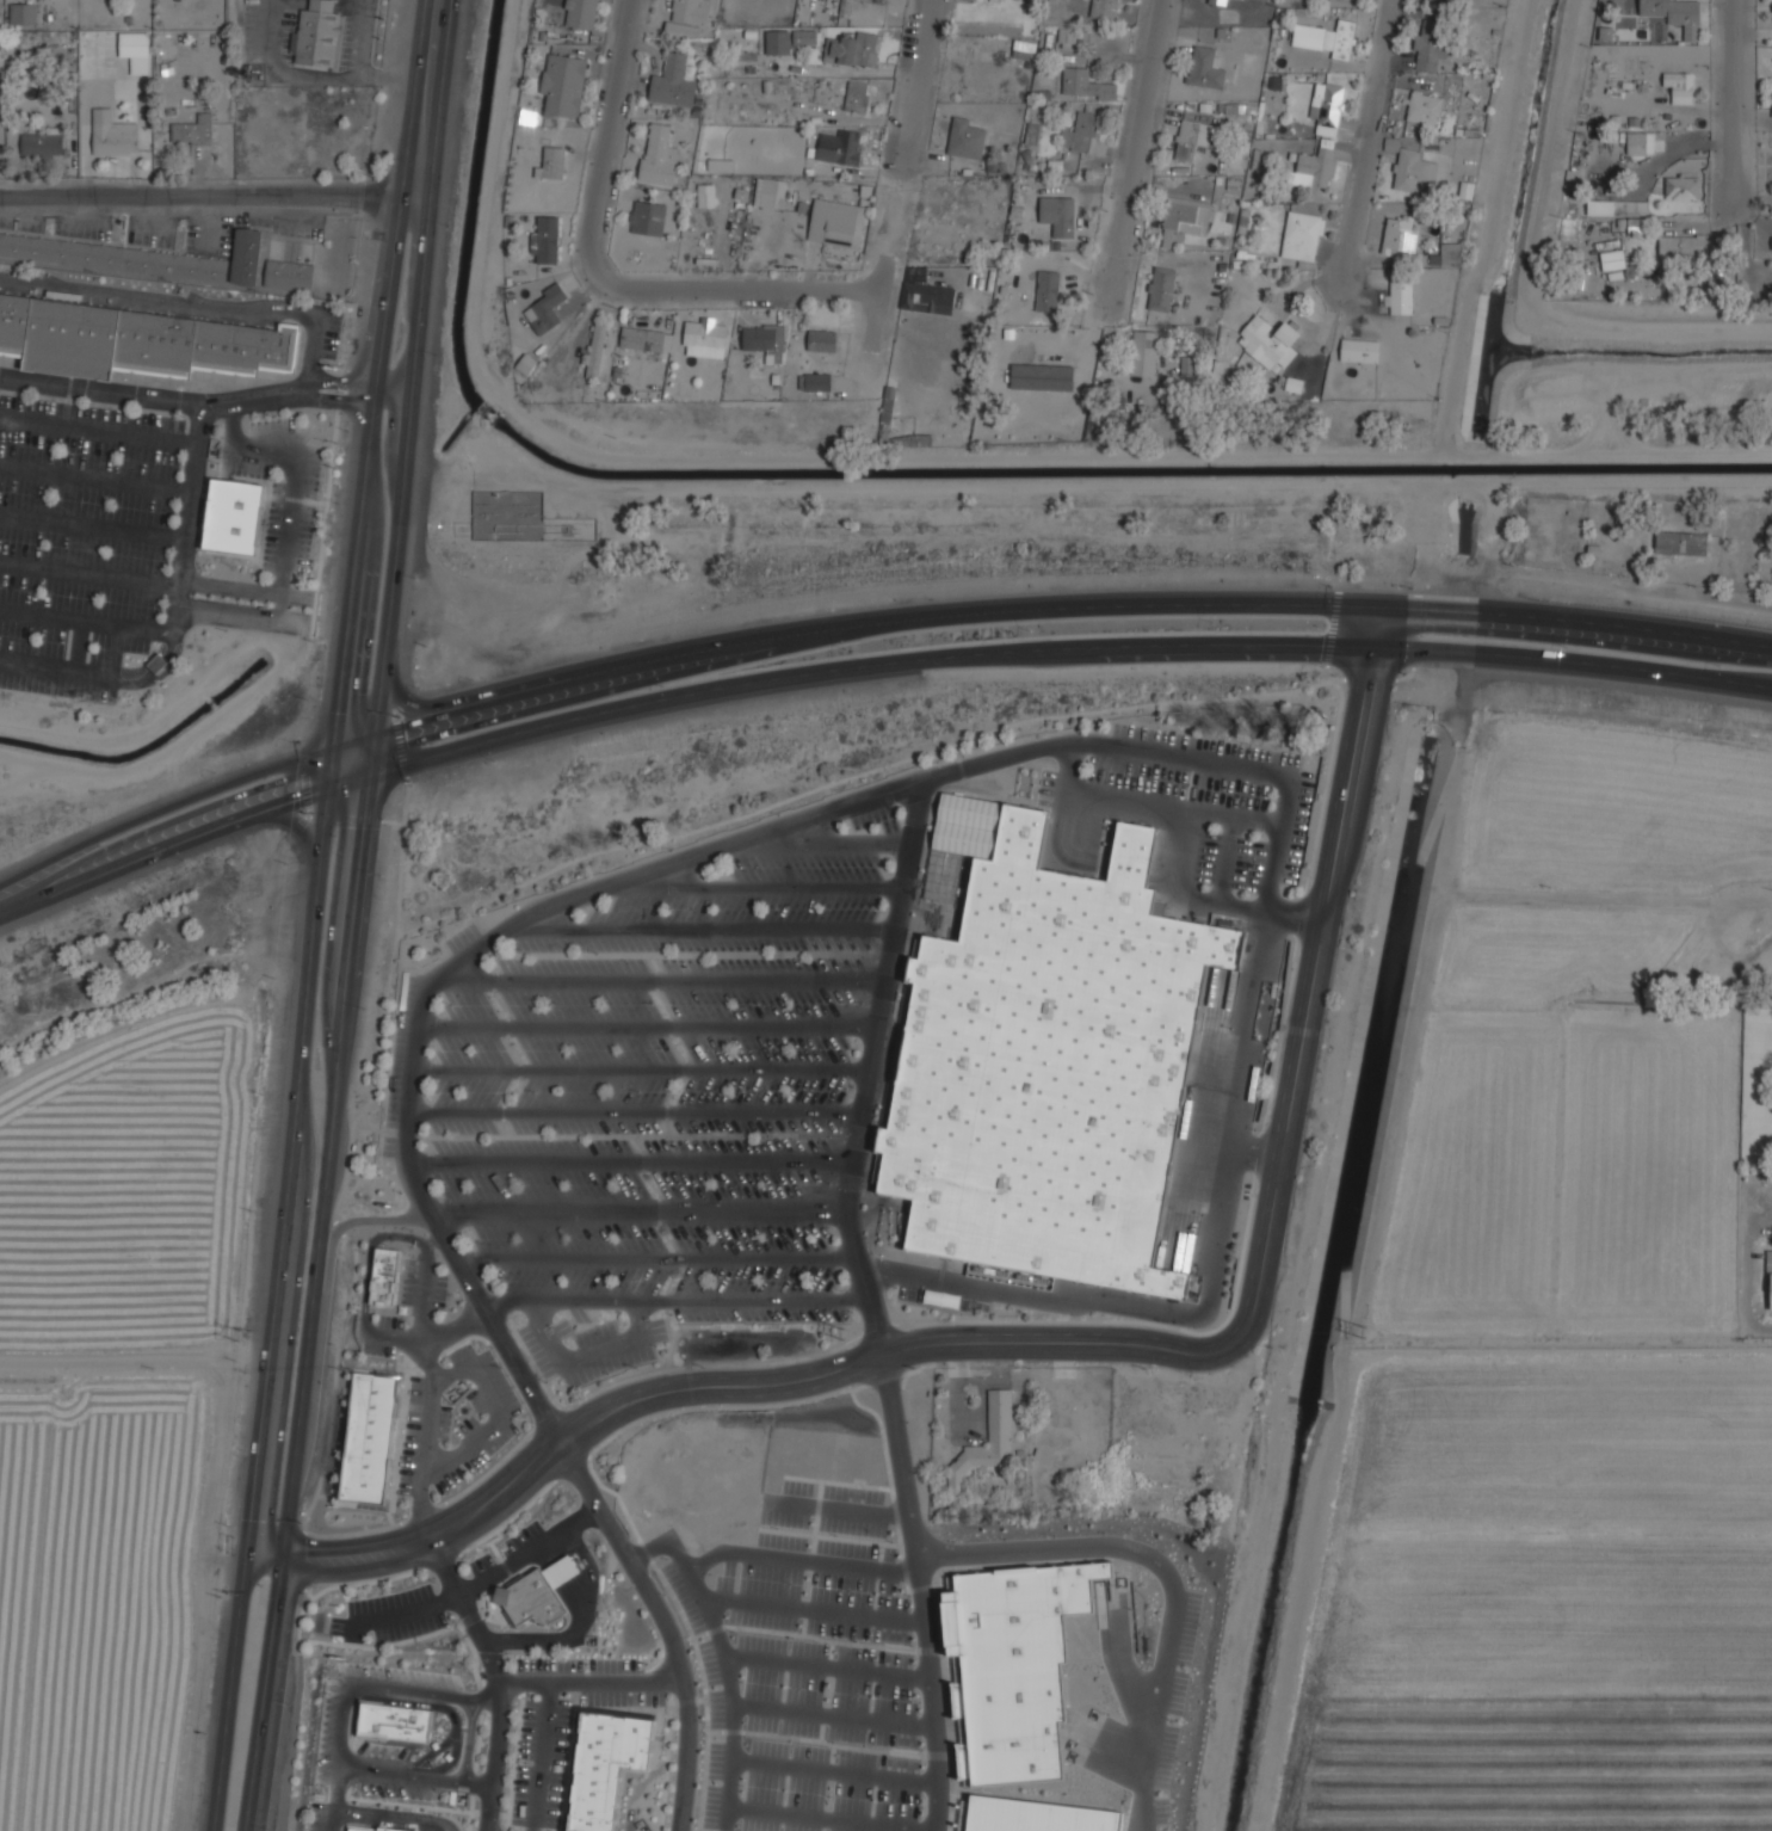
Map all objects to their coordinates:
building: (993, 0)
building: (1217, 1)
building: (1104, 8)
building: (24, 12)
building: (580, 13)
building: (1675, 13)
building: (689, 17)
building: (319, 32)
building: (1308, 35)
building: (804, 36)
building: (1067, 36)
building: (1344, 38)
building: (1430, 43)
building: (853, 48)
building: (1024, 49)
building: (135, 50)
building: (1205, 67)
road: (618, 80)
building: (673, 81)
building: (1679, 81)
road: (916, 82)
building: (564, 84)
building: (1086, 84)
road: (424, 93)
building: (857, 95)
building: (1771, 103)
building: (1328, 105)
road: (1739, 105)
building: (1424, 109)
building: (191, 130)
building: (1080, 131)
building: (967, 136)
building: (1193, 137)
road: (1138, 140)
building: (1636, 141)
building: (115, 142)
building: (41, 144)
building: (840, 146)
road: (1364, 146)
building: (657, 154)
building: (554, 160)
building: (1319, 162)
building: (1410, 165)
road: (206, 186)
building: (1683, 186)
building: (765, 193)
building: (705, 195)
building: (1617, 205)
building: (1045, 209)
building: (1187, 214)
building: (1063, 215)
building: (647, 216)
building: (839, 221)
building: (1635, 226)
building: (1302, 234)
building: (1399, 234)
building: (1167, 238)
building: (545, 239)
building: (1771, 242)
building: (1683, 246)
building: (1449, 253)
building: (141, 255)
building: (1612, 258)
building: (289, 273)
road: (690, 285)
building: (1160, 288)
building: (925, 291)
building: (1046, 291)
building: (1399, 292)
road: (198, 303)
building: (544, 307)
building: (643, 338)
building: (705, 338)
building: (764, 338)
building: (821, 339)
building: (1268, 340)
building: (136, 341)
building: (595, 349)
building: (1359, 349)
building: (1144, 351)
building: (1186, 364)
building: (814, 381)
road: (331, 382)
building: (1292, 383)
road: (395, 387)
road: (67, 388)
road: (365, 388)
road: (331, 396)
road: (154, 399)
road: (178, 400)
road: (98, 432)
road: (405, 458)
road: (95, 480)
road: (364, 482)
road: (291, 492)
road: (292, 499)
road: (187, 510)
building: (233, 517)
road: (92, 525)
building: (1681, 542)
road: (88, 573)
road: (264, 592)
traffic signals: (1378, 604)
road: (263, 617)
road: (80, 618)
road: (1575, 619)
road: (169, 622)
road: (869, 622)
road: (1377, 624)
road: (76, 645)
traffic signals: (1376, 645)
road: (1574, 658)
building: (156, 662)
road: (159, 662)
road: (868, 665)
road: (57, 670)
road: (401, 699)
road: (403, 701)
traffic signals: (372, 733)
road: (354, 738)
traffic signals: (338, 742)
road: (400, 748)
road: (371, 752)
traffic signals: (371, 771)
parking lot: (1179, 775)
road: (352, 776)
road: (304, 777)
traffic signals: (333, 782)
road: (162, 807)
road: (1149, 807)
crop: (1618, 813)
road: (345, 818)
road: (301, 826)
road: (295, 830)
road: (832, 841)
road: (166, 845)
parking lot: (1251, 851)
road: (700, 856)
road: (1229, 859)
road: (759, 887)
road: (1183, 892)
road: (1496, 907)
road: (699, 930)
crop: (1556, 953)
road: (663, 978)
road: (1305, 994)
road: (647, 1027)
building: (1044, 1052)
road: (872, 1071)
road: (642, 1072)
parking lot: (655, 1095)
road: (637, 1114)
building: (456, 1160)
road: (631, 1160)
road: (328, 1164)
crop: (1560, 1179)
crop: (131, 1190)
road: (643, 1214)
road: (436, 1241)
road: (371, 1256)
road: (660, 1259)
building: (384, 1276)
parking lot: (425, 1283)
road: (1211, 1286)
building: (1770, 1290)
parking lot: (946, 1293)
road: (424, 1299)
road: (678, 1300)
road: (278, 1306)
power tower: (840, 1332)
power tower: (240, 1333)
power tower: (1365, 1336)
parking lot: (387, 1338)
road: (433, 1338)
road: (588, 1357)
road: (740, 1389)
road: (500, 1419)
parking lot: (457, 1422)
road: (428, 1434)
building: (368, 1438)
building: (987, 1447)
road: (555, 1551)
parking lot: (512, 1552)
traffic signals: (253, 1554)
road: (267, 1555)
traffic signals: (283, 1558)
road: (542, 1559)
road: (807, 1562)
road: (1173, 1573)
road: (486, 1579)
road: (922, 1590)
building: (538, 1593)
road: (580, 1596)
crop: (98, 1598)
crop: (1543, 1599)
road: (465, 1609)
parking lot: (393, 1616)
road: (665, 1623)
road: (584, 1628)
road: (552, 1636)
road: (731, 1657)
building: (1014, 1667)
parking lot: (582, 1671)
parking lot: (403, 1681)
road: (594, 1684)
road: (266, 1694)
parking lot: (625, 1694)
road: (453, 1713)
road: (342, 1722)
building: (393, 1725)
parking lot: (331, 1731)
road: (470, 1743)
road: (495, 1757)
road: (543, 1757)
road: (450, 1763)
parking lot: (543, 1763)
building: (605, 1767)
parking lot: (399, 1786)
road: (337, 1787)
road: (396, 1814)
building: (1030, 1817)
road: (385, 1821)
building: (375, 1829)
building: (415, 1830)

